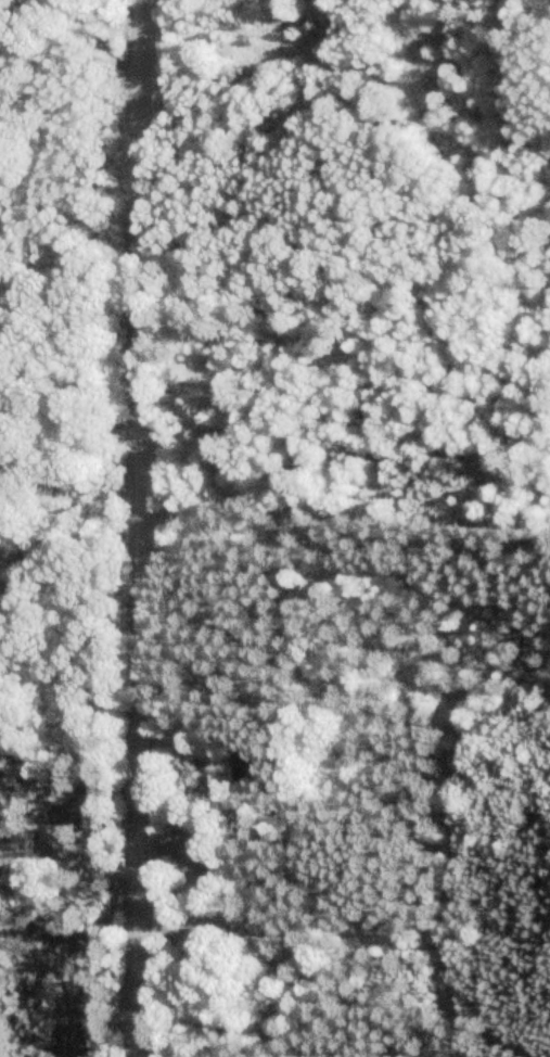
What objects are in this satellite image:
road: (138, 528)
building: (246, 765)
road: (71, 857)

